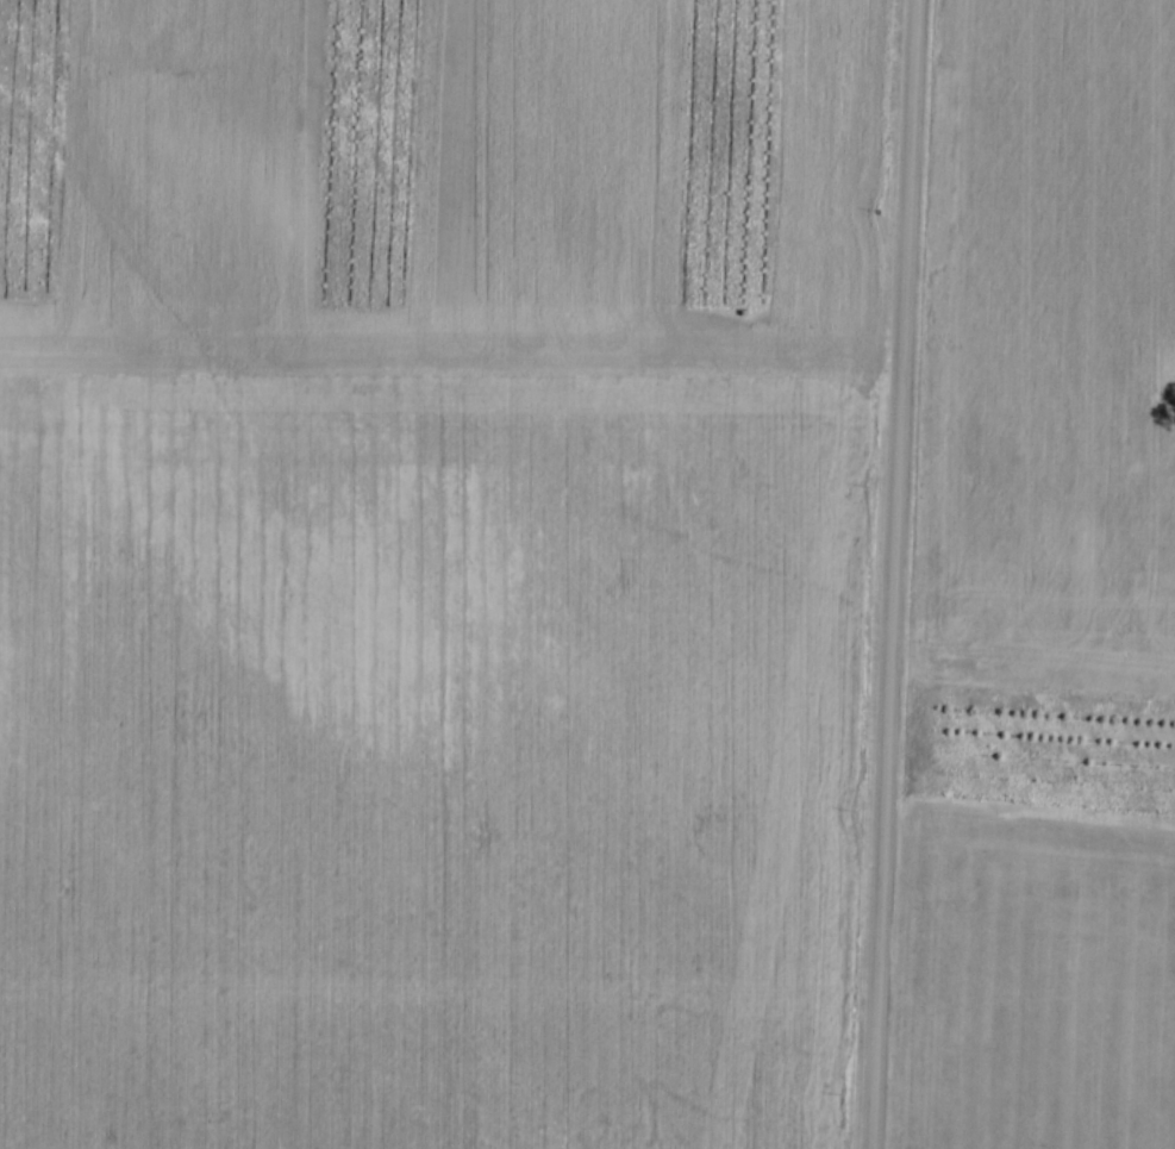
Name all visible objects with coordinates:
crop: (431, 568)
road: (888, 574)
crop: (1042, 577)

